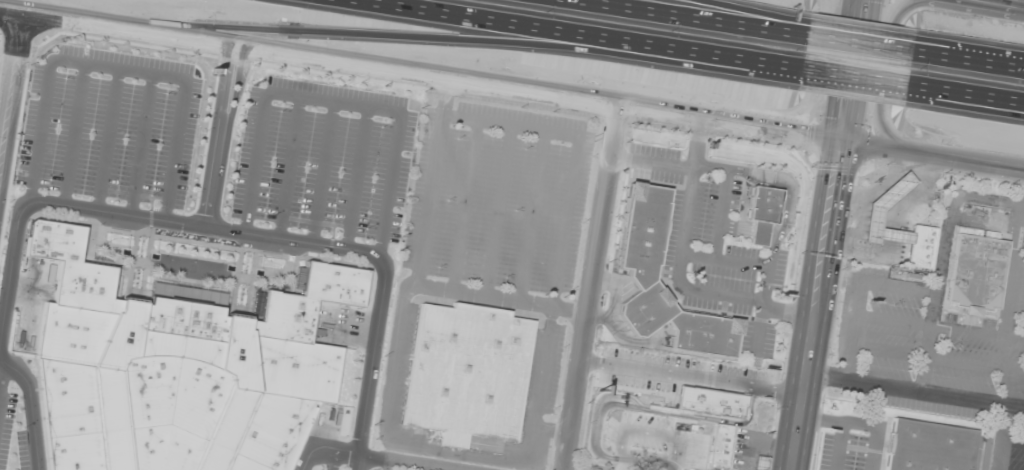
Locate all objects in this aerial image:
road: (992, 0)
road: (1005, 3)
road: (741, 16)
road: (687, 19)
road: (587, 33)
road: (860, 41)
road: (417, 44)
road: (968, 58)
road: (118, 68)
road: (852, 70)
road: (419, 72)
road: (854, 75)
road: (887, 78)
road: (11, 81)
road: (815, 93)
road: (964, 93)
road: (333, 100)
road: (962, 106)
road: (71, 134)
road: (214, 135)
road: (225, 136)
road: (106, 140)
traffic signals: (839, 141)
road: (140, 145)
road: (576, 153)
road: (931, 157)
road: (651, 163)
road: (288, 167)
road: (321, 172)
road: (354, 177)
road: (954, 195)
road: (723, 196)
road: (464, 205)
gas station: (878, 205)
road: (788, 208)
road: (499, 210)
building: (762, 212)
road: (532, 215)
road: (200, 227)
road: (1022, 237)
building: (921, 246)
road: (724, 259)
road: (678, 270)
building: (976, 270)
road: (7, 271)
building: (640, 271)
road: (1019, 271)
road: (591, 287)
road: (861, 292)
road: (764, 294)
road: (502, 297)
road: (814, 305)
road: (1017, 307)
road: (894, 320)
road: (977, 332)
road: (938, 360)
building: (178, 369)
road: (1, 371)
road: (368, 372)
building: (469, 373)
road: (913, 391)
road: (386, 401)
building: (715, 406)
road: (25, 410)
road: (860, 423)
road: (551, 431)
road: (1001, 437)
road: (1012, 442)
building: (722, 445)
road: (839, 446)
building: (929, 446)
road: (321, 447)
road: (332, 459)
road: (983, 460)
road: (407, 462)
gas station: (760, 462)
building: (761, 463)
road: (386, 464)
parking lot: (387, 466)
road: (416, 467)
road: (451, 469)

